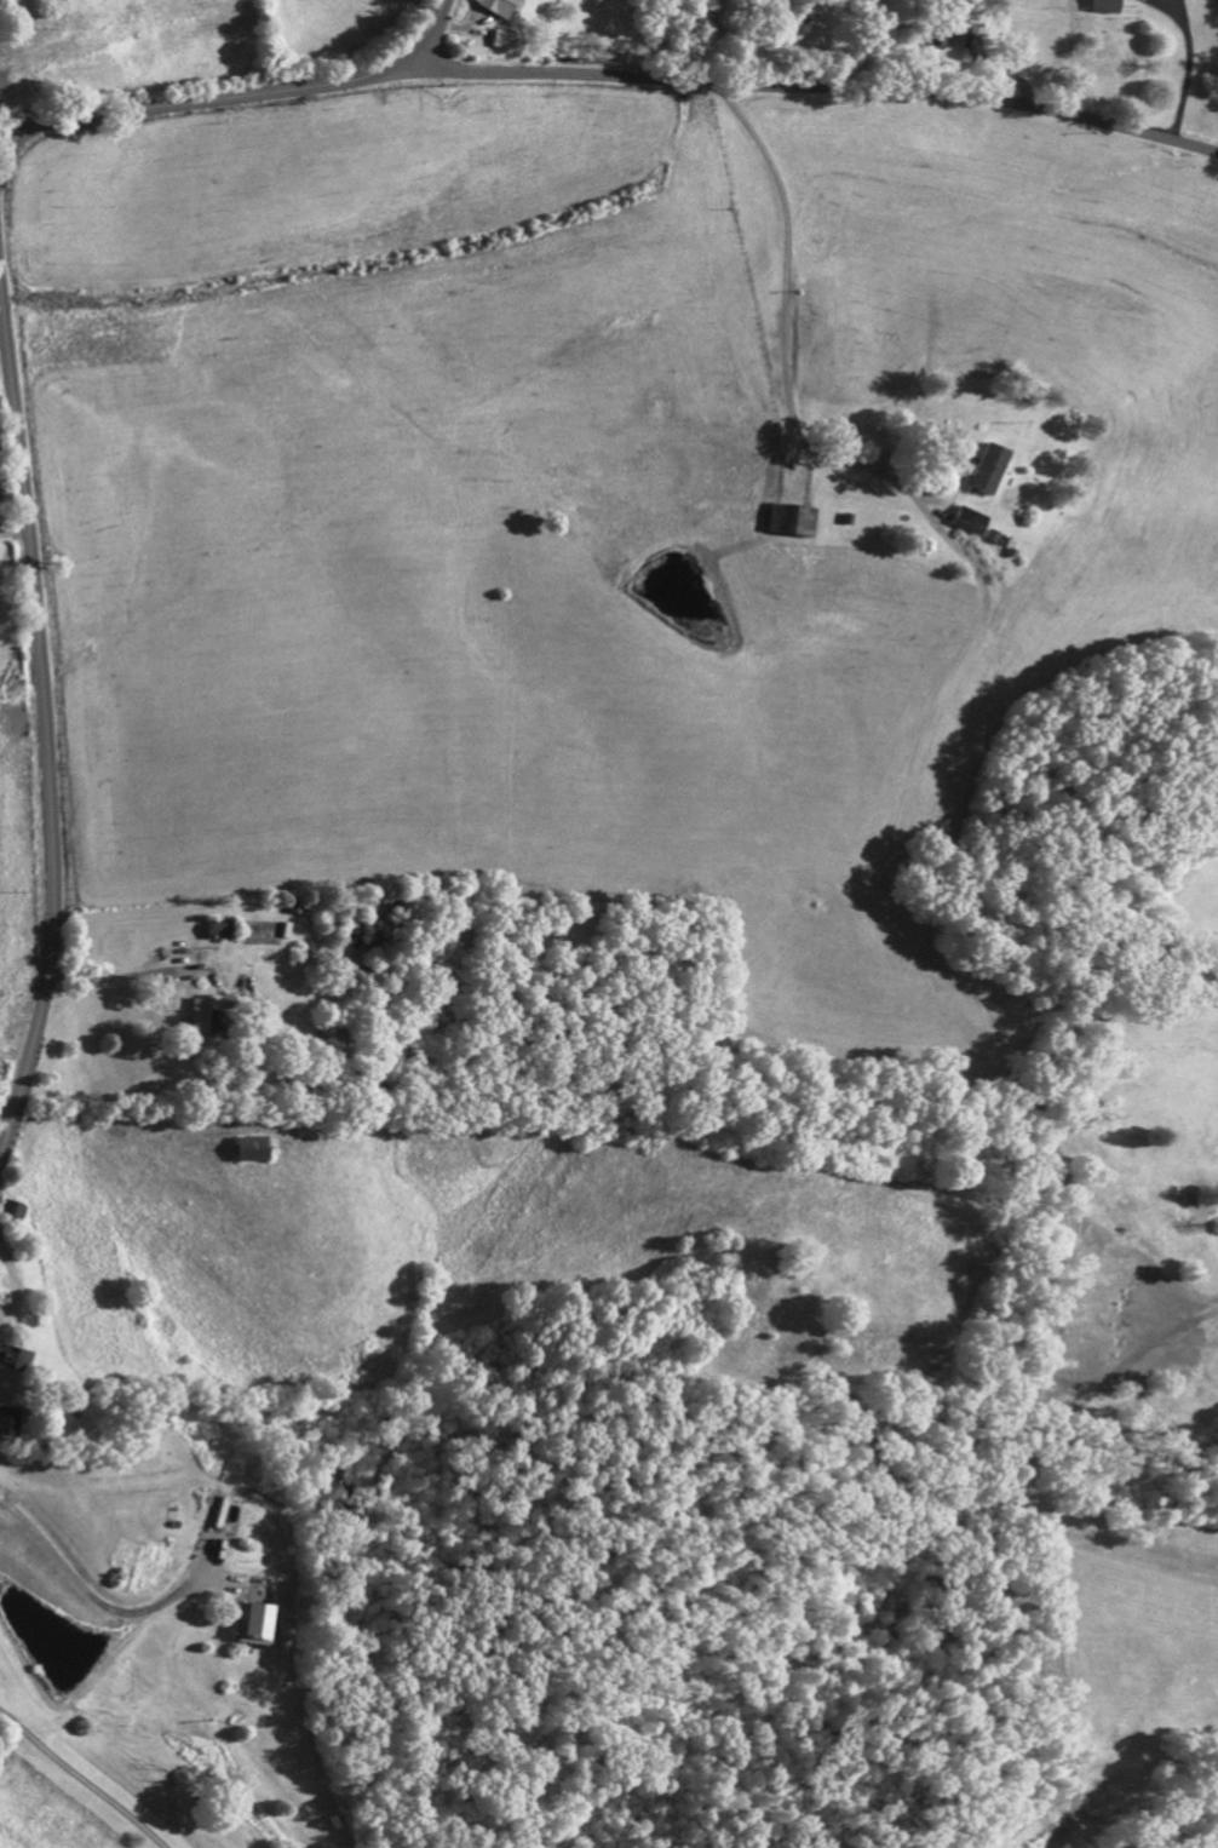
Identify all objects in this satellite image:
building: (499, 8)
building: (1107, 8)
building: (502, 42)
road: (1182, 67)
road: (815, 86)
road: (231, 101)
road: (779, 321)
building: (989, 474)
building: (793, 524)
building: (970, 526)
road: (15, 530)
road: (46, 713)
building: (293, 909)
road: (134, 975)
building: (206, 1016)
building: (247, 1152)
building: (11, 1213)
building: (13, 1362)
building: (8, 1427)
road: (85, 1596)
building: (251, 1629)
road: (80, 1781)

